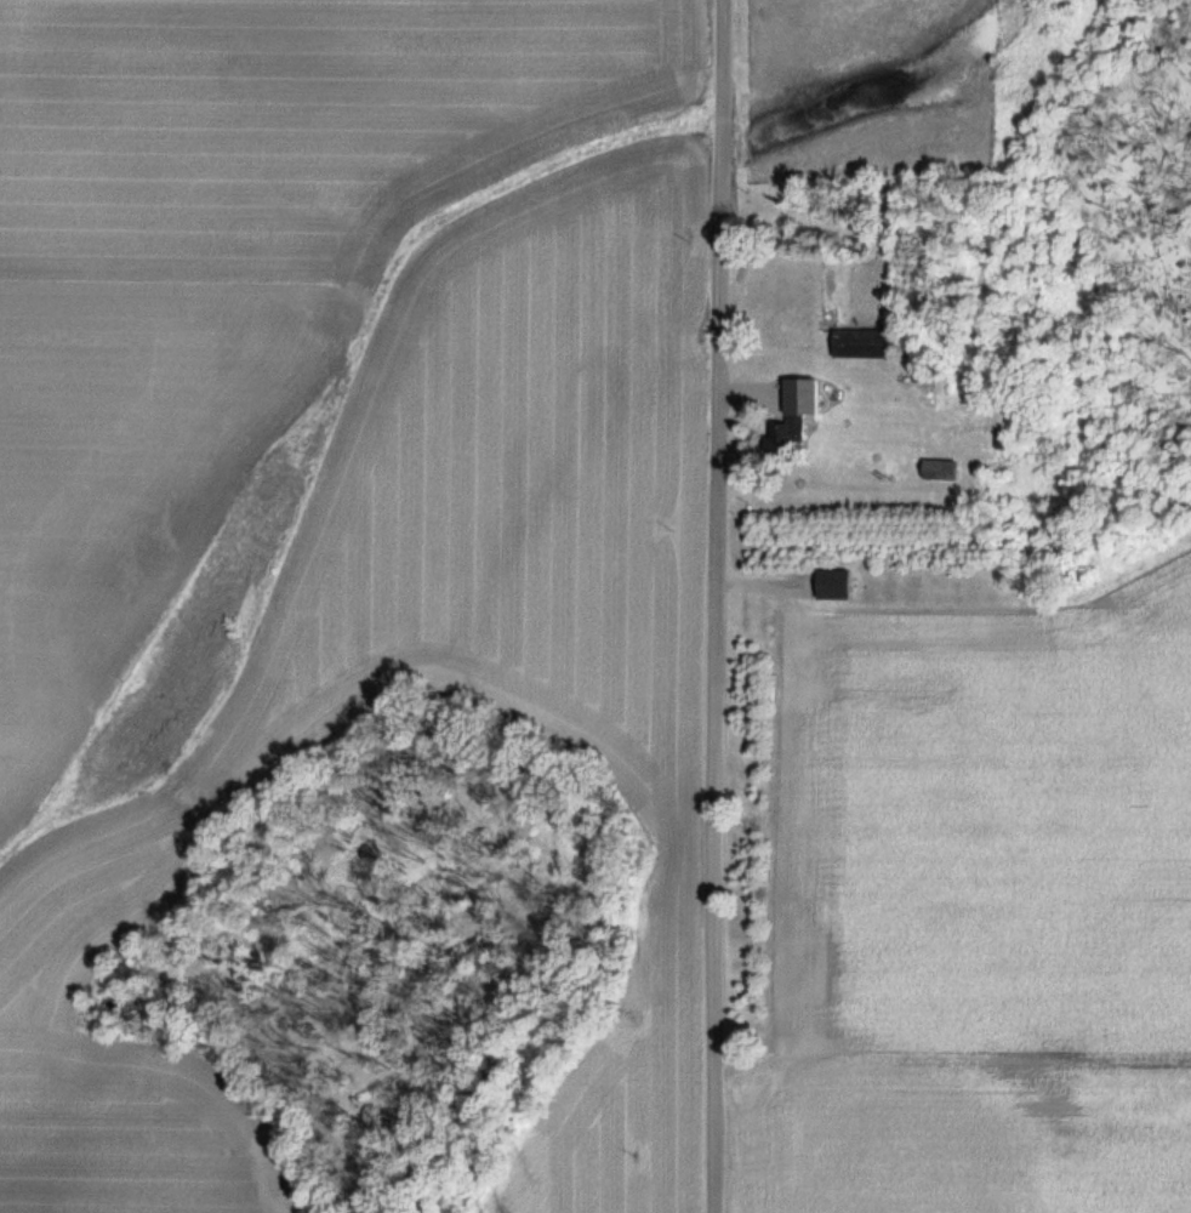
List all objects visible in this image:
building: (862, 342)
building: (792, 415)
building: (944, 468)
building: (837, 585)
road: (718, 606)

